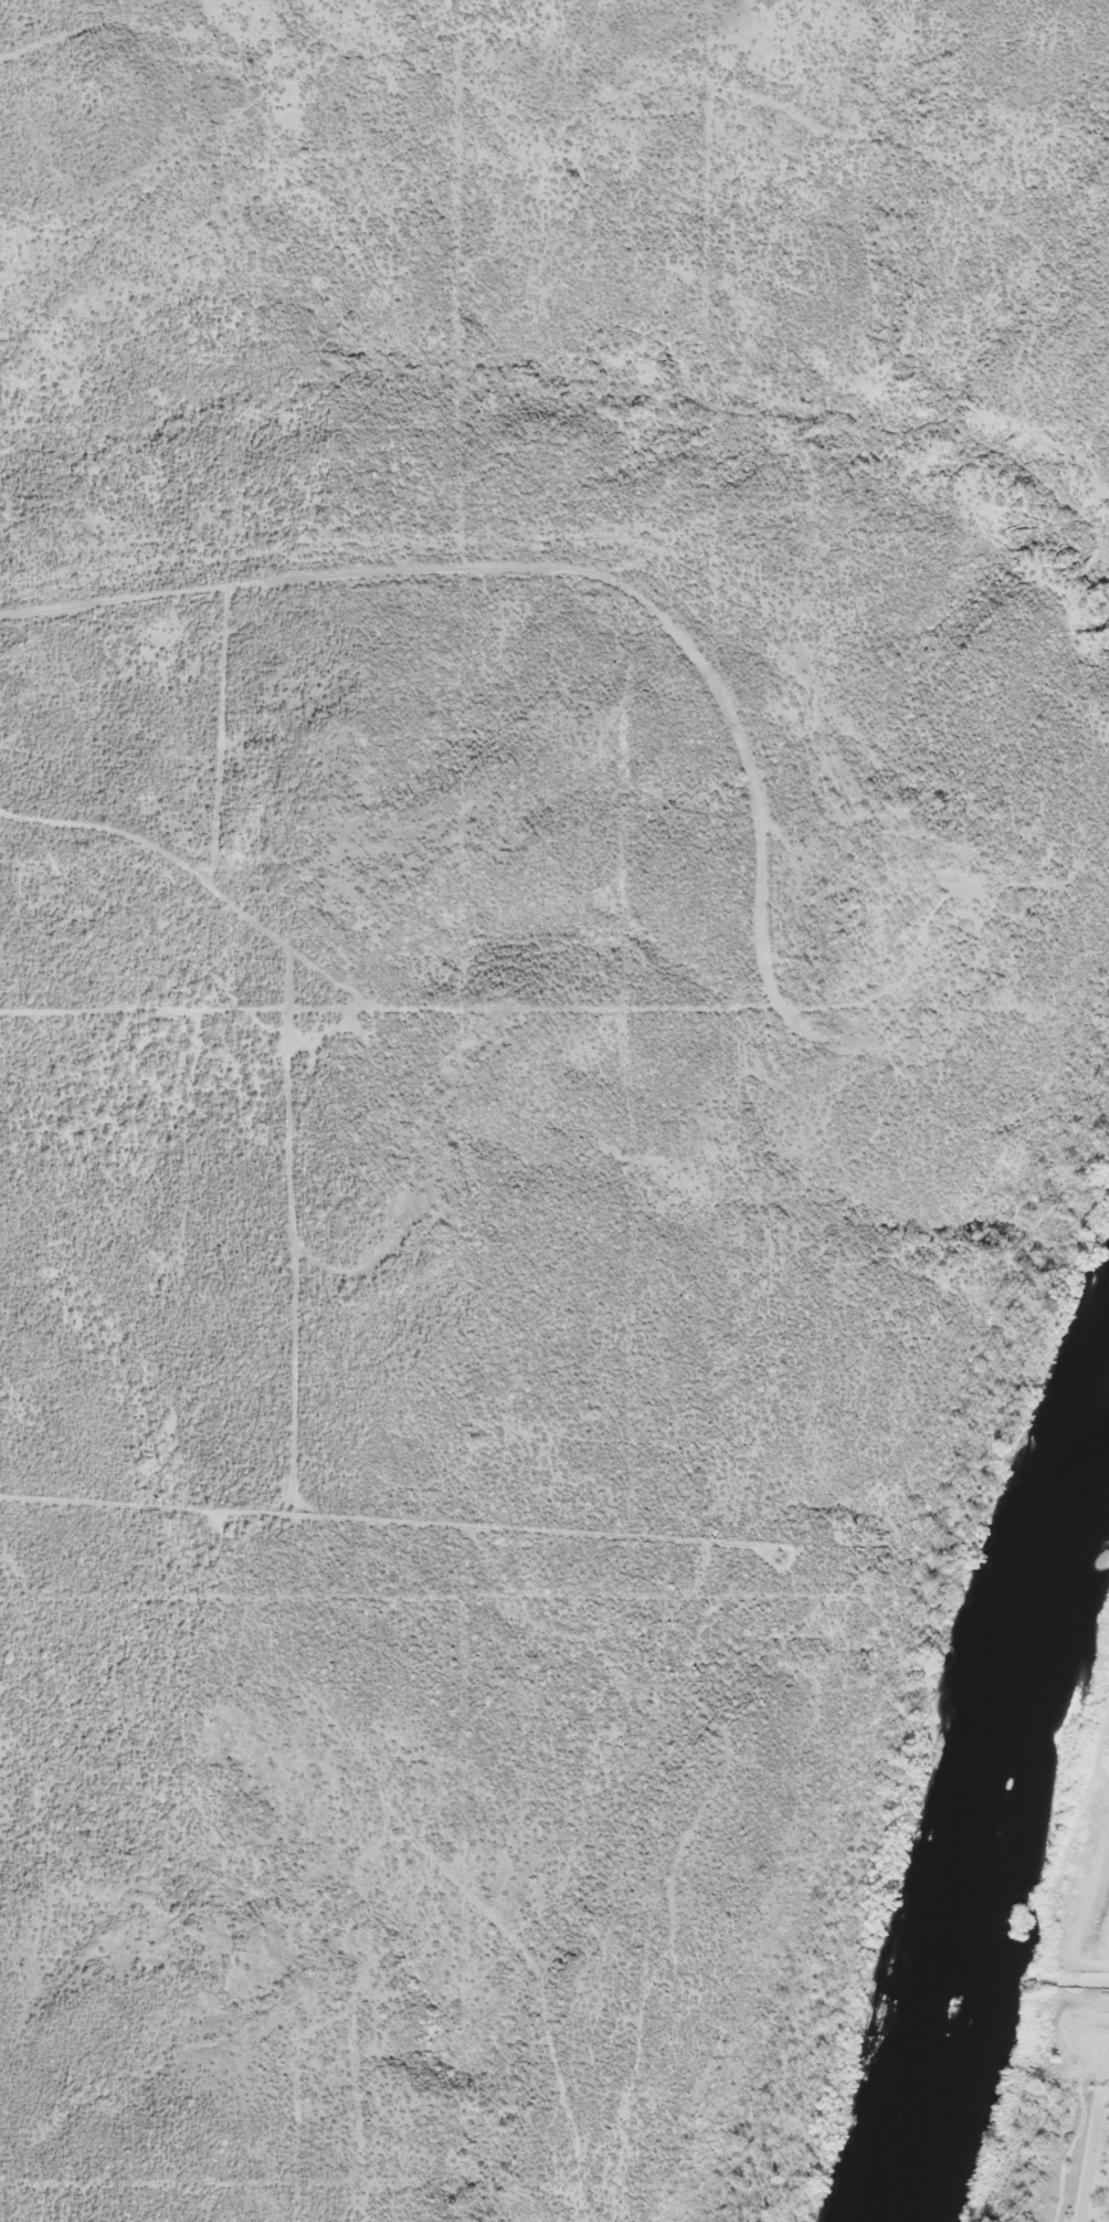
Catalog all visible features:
river: (1004, 1760)
river: (907, 2135)

